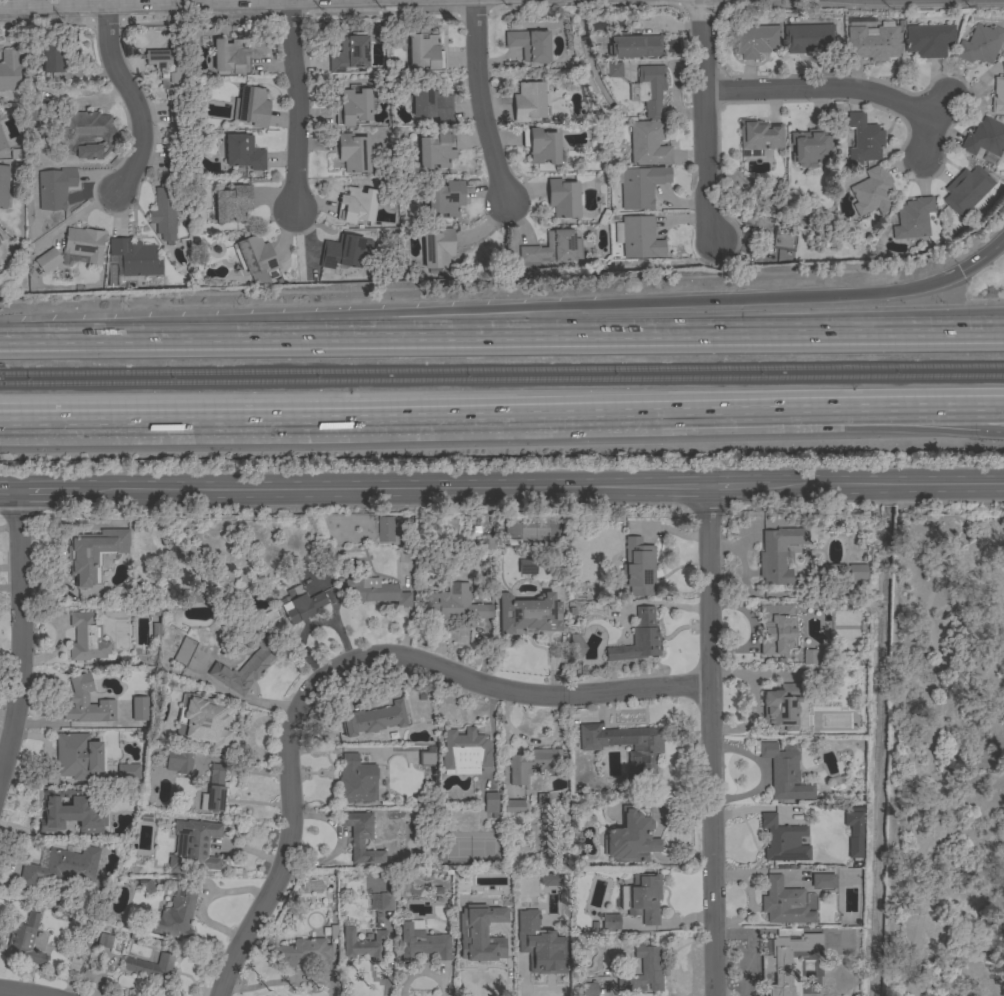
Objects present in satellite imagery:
road: (474, 0)
road: (139, 4)
road: (259, 5)
building: (809, 38)
building: (754, 40)
building: (929, 40)
building: (872, 43)
building: (980, 44)
building: (529, 45)
building: (633, 45)
building: (425, 50)
building: (348, 54)
building: (59, 57)
building: (230, 57)
building: (1003, 62)
building: (610, 68)
building: (9, 69)
building: (170, 79)
building: (650, 89)
road: (834, 89)
building: (998, 95)
road: (131, 100)
building: (528, 101)
building: (430, 102)
road: (476, 103)
building: (252, 106)
road: (291, 106)
building: (353, 106)
road: (936, 110)
building: (33, 112)
road: (703, 122)
building: (83, 133)
building: (758, 136)
building: (985, 137)
building: (863, 139)
building: (2, 142)
building: (648, 144)
building: (541, 146)
building: (810, 146)
building: (435, 150)
building: (243, 152)
building: (354, 152)
building: (174, 160)
building: (3, 185)
building: (640, 185)
building: (54, 188)
building: (966, 189)
building: (872, 191)
building: (445, 198)
building: (563, 198)
building: (233, 203)
building: (356, 205)
building: (165, 208)
building: (913, 218)
building: (769, 231)
building: (638, 237)
building: (0, 239)
building: (84, 243)
building: (437, 248)
building: (552, 248)
building: (344, 252)
building: (255, 255)
building: (133, 258)
road: (982, 259)
building: (47, 260)
road: (628, 303)
road: (981, 338)
road: (150, 339)
road: (605, 339)
road: (981, 340)
road: (934, 341)
railway: (502, 370)
railway: (502, 379)
road: (981, 405)
road: (952, 406)
road: (831, 407)
road: (359, 412)
road: (861, 419)
road: (885, 487)
road: (737, 489)
road: (392, 491)
road: (8, 493)
road: (47, 493)
building: (385, 529)
building: (481, 540)
building: (93, 554)
building: (778, 554)
building: (526, 566)
building: (638, 568)
building: (835, 569)
building: (857, 572)
building: (587, 589)
building: (371, 591)
building: (194, 597)
building: (300, 604)
building: (455, 604)
road: (412, 605)
building: (529, 613)
building: (268, 617)
building: (776, 628)
road: (21, 637)
building: (86, 638)
building: (639, 638)
building: (576, 648)
building: (184, 651)
building: (810, 657)
road: (343, 663)
building: (245, 666)
building: (87, 702)
building: (781, 706)
building: (139, 708)
building: (374, 719)
building: (203, 721)
building: (625, 743)
road: (709, 743)
road: (928, 747)
building: (464, 752)
building: (78, 755)
building: (426, 758)
park: (945, 758)
building: (179, 761)
building: (533, 764)
building: (128, 773)
building: (784, 773)
building: (356, 780)
building: (214, 790)
building: (542, 798)
building: (490, 802)
building: (513, 807)
building: (62, 809)
building: (854, 833)
building: (632, 836)
building: (361, 838)
building: (783, 840)
building: (200, 849)
building: (62, 866)
building: (546, 880)
building: (822, 880)
building: (145, 885)
building: (466, 889)
building: (644, 897)
building: (381, 901)
building: (784, 903)
building: (175, 913)
building: (502, 914)
building: (610, 921)
building: (83, 939)
building: (23, 940)
building: (105, 941)
building: (421, 941)
building: (363, 944)
building: (480, 946)
building: (544, 947)
building: (765, 948)
building: (303, 952)
building: (787, 958)
building: (152, 969)
building: (644, 970)
building: (588, 989)

